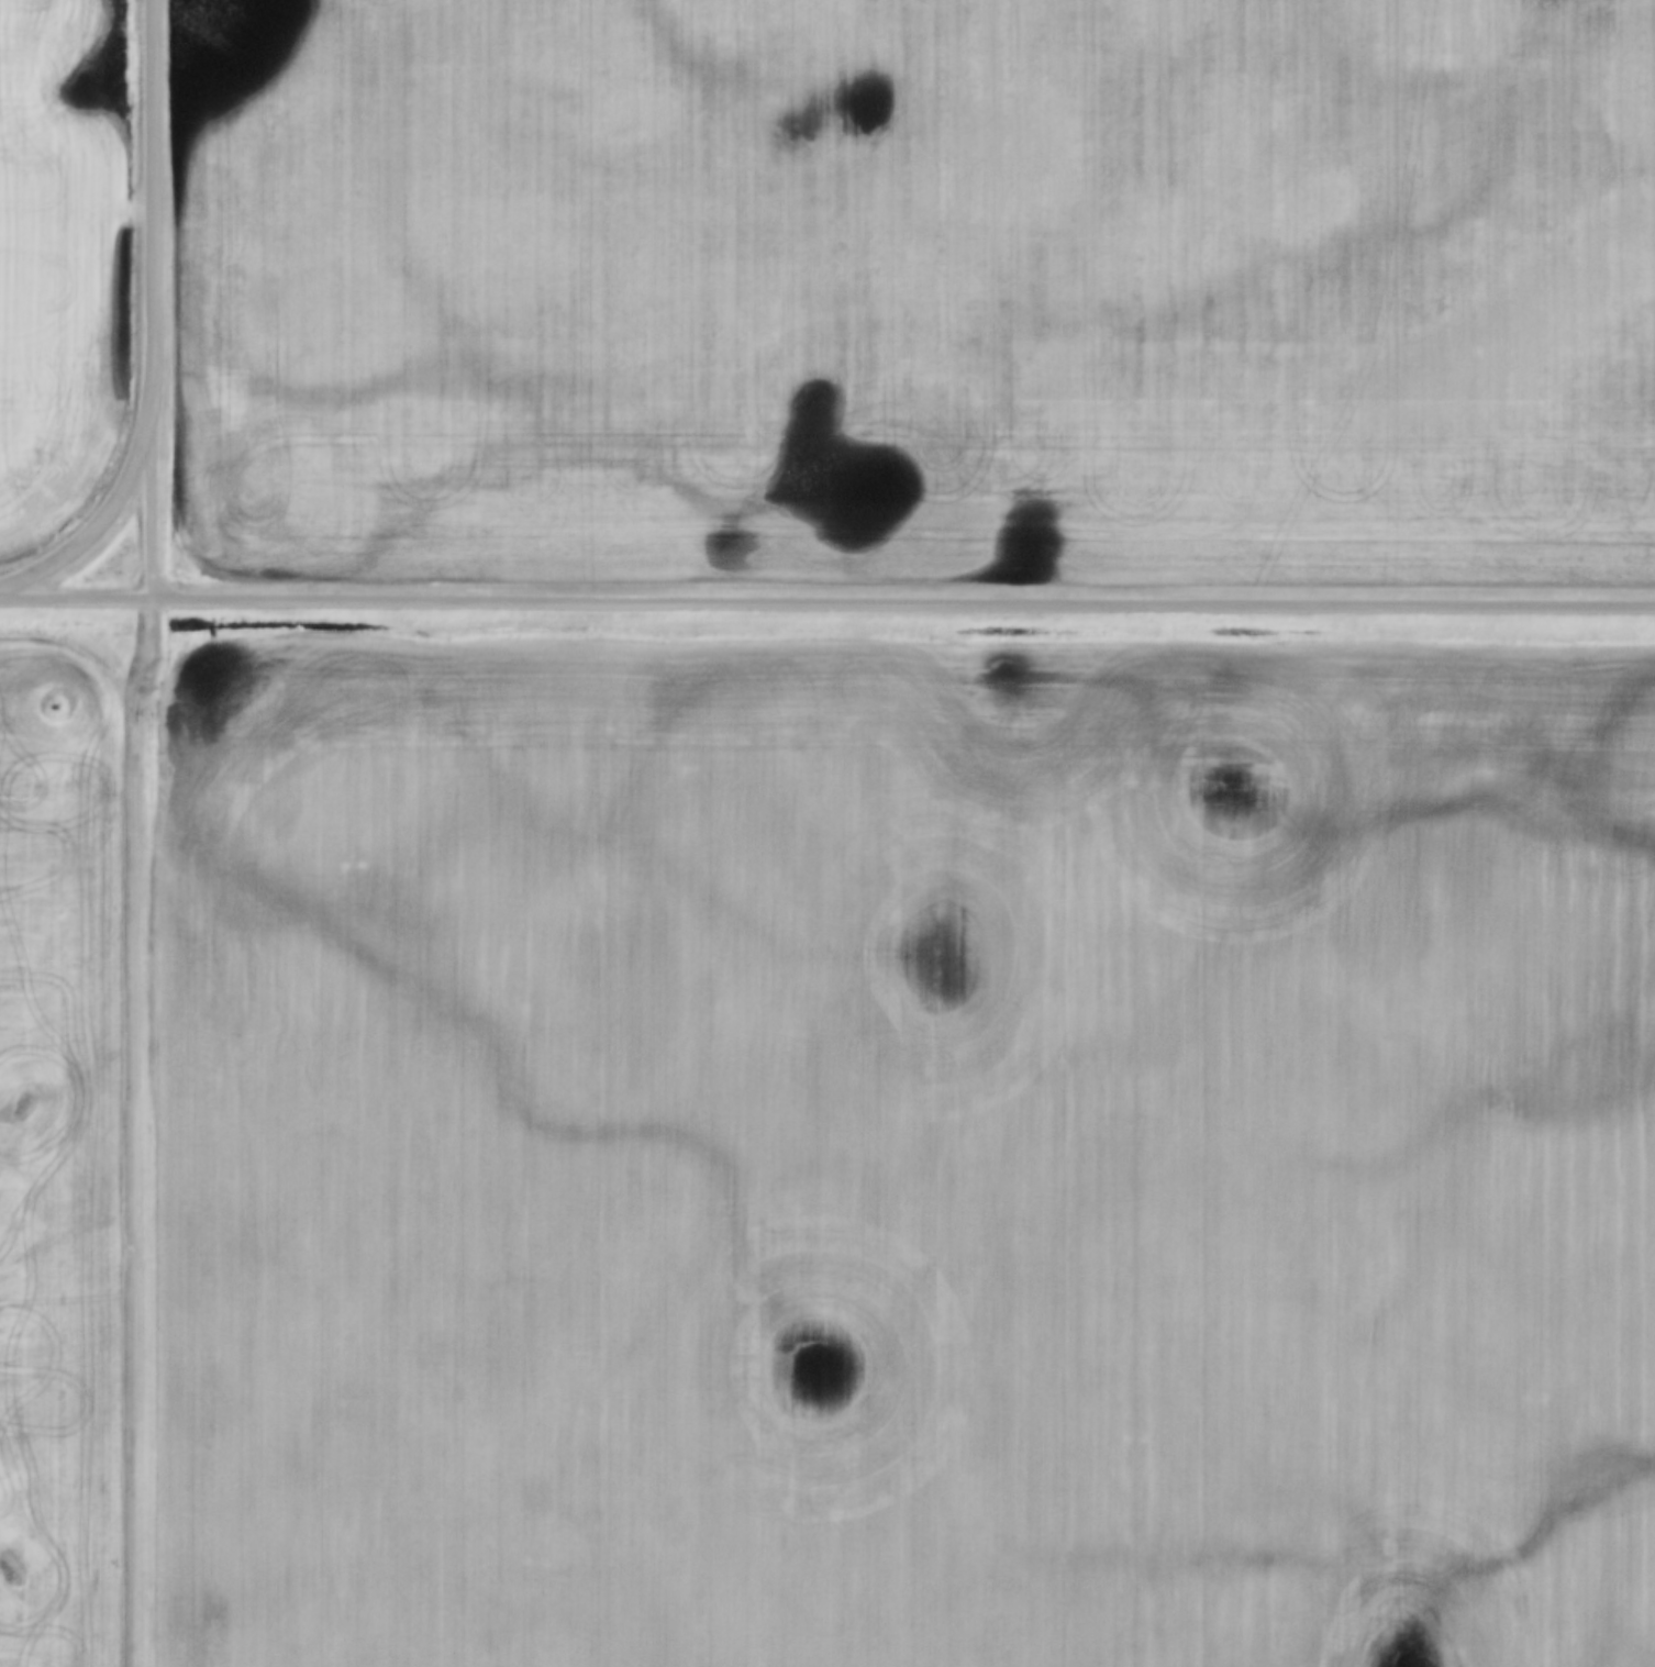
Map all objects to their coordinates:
road: (151, 204)
road: (151, 503)
road: (99, 518)
road: (827, 602)
road: (146, 1132)

